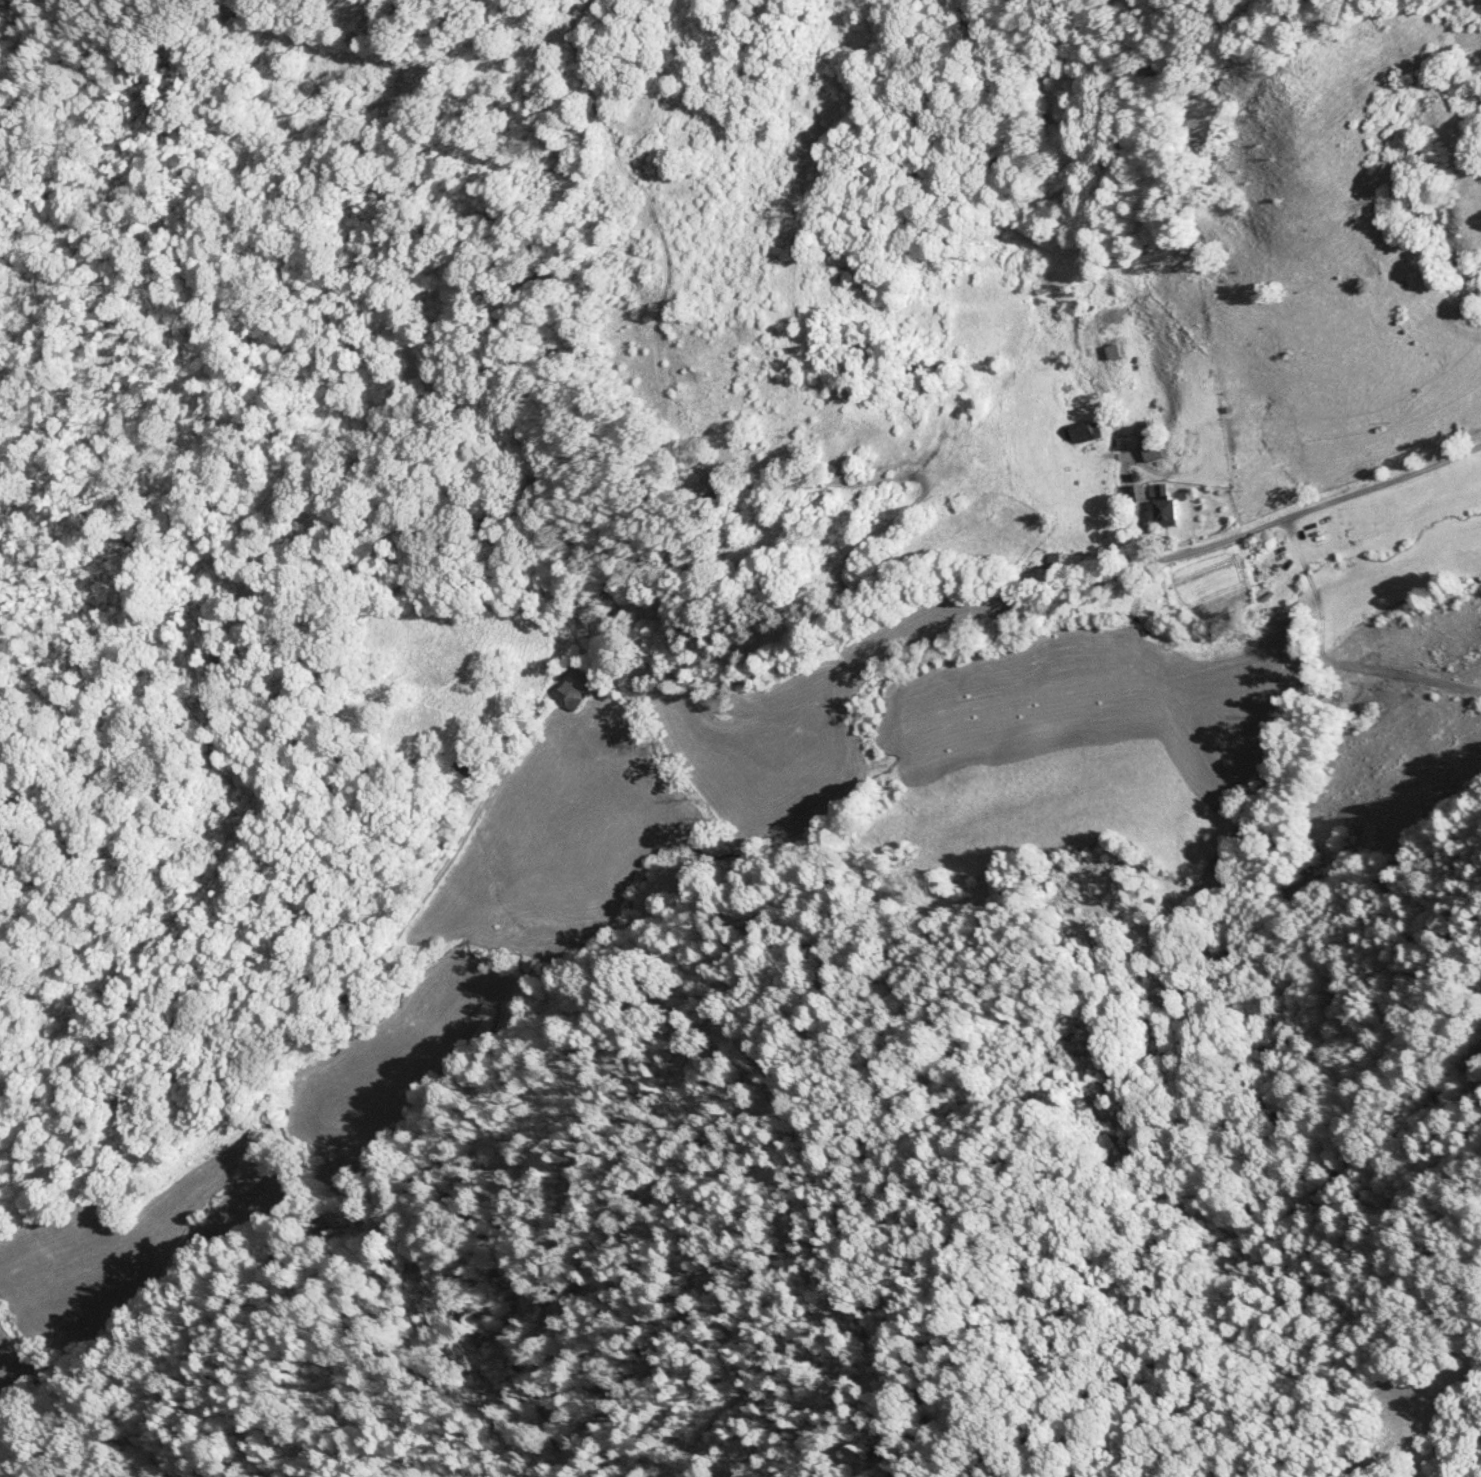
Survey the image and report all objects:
building: (1117, 353)
building: (1083, 433)
building: (1152, 451)
building: (1140, 495)
building: (1166, 508)
building: (1058, 560)
road: (687, 662)
building: (571, 697)
building: (463, 761)
road: (131, 1373)

